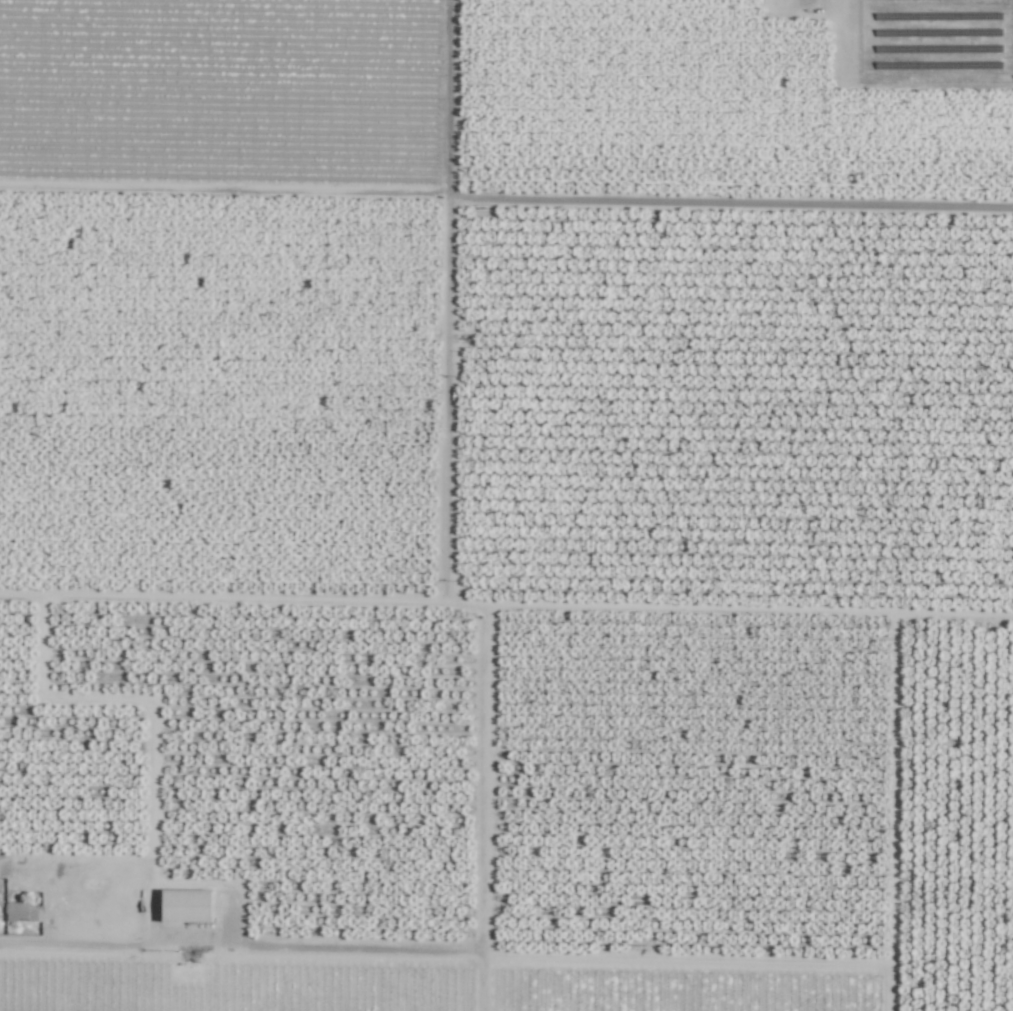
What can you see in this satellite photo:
road: (851, 33)
road: (160, 776)
building: (182, 905)

